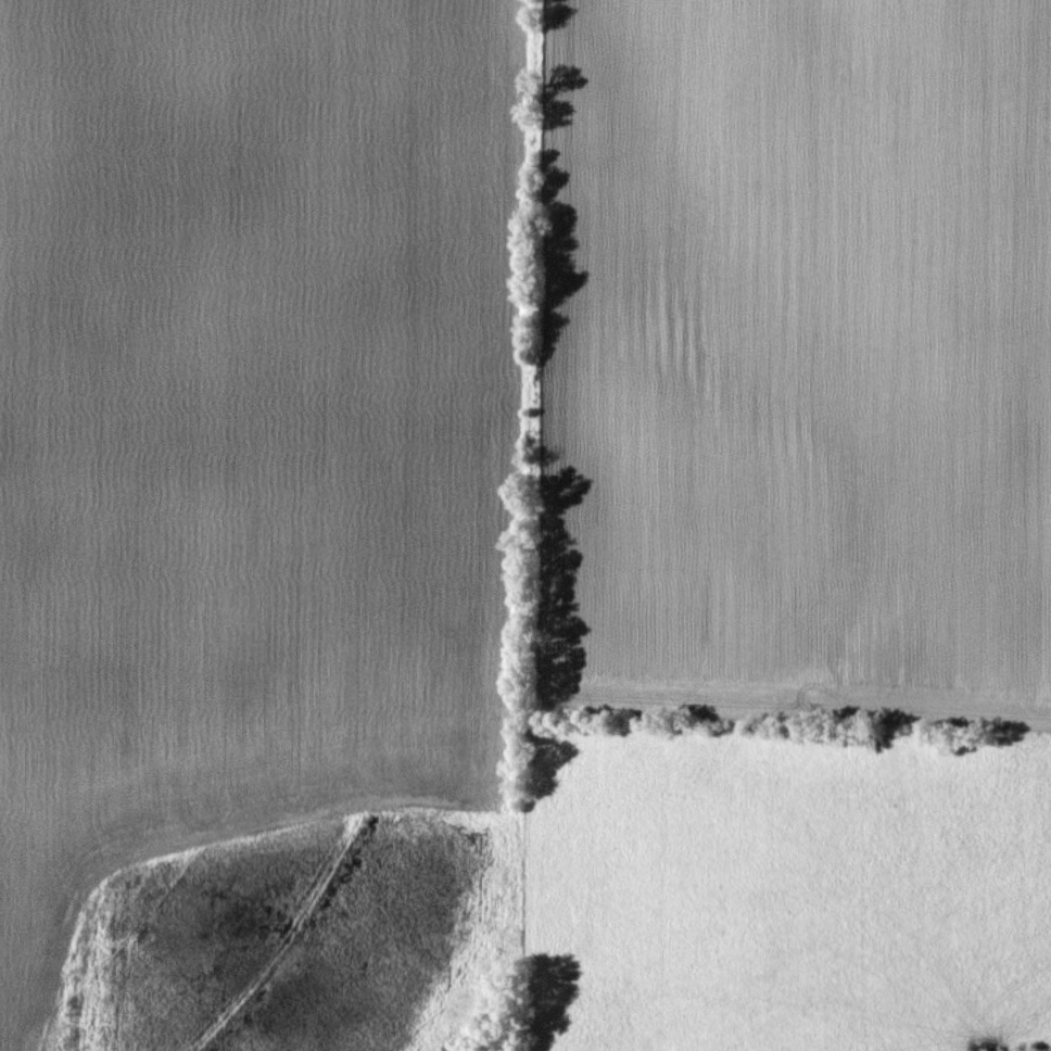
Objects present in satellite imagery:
crop: (790, 358)
crop: (253, 430)
building: (990, 1049)

